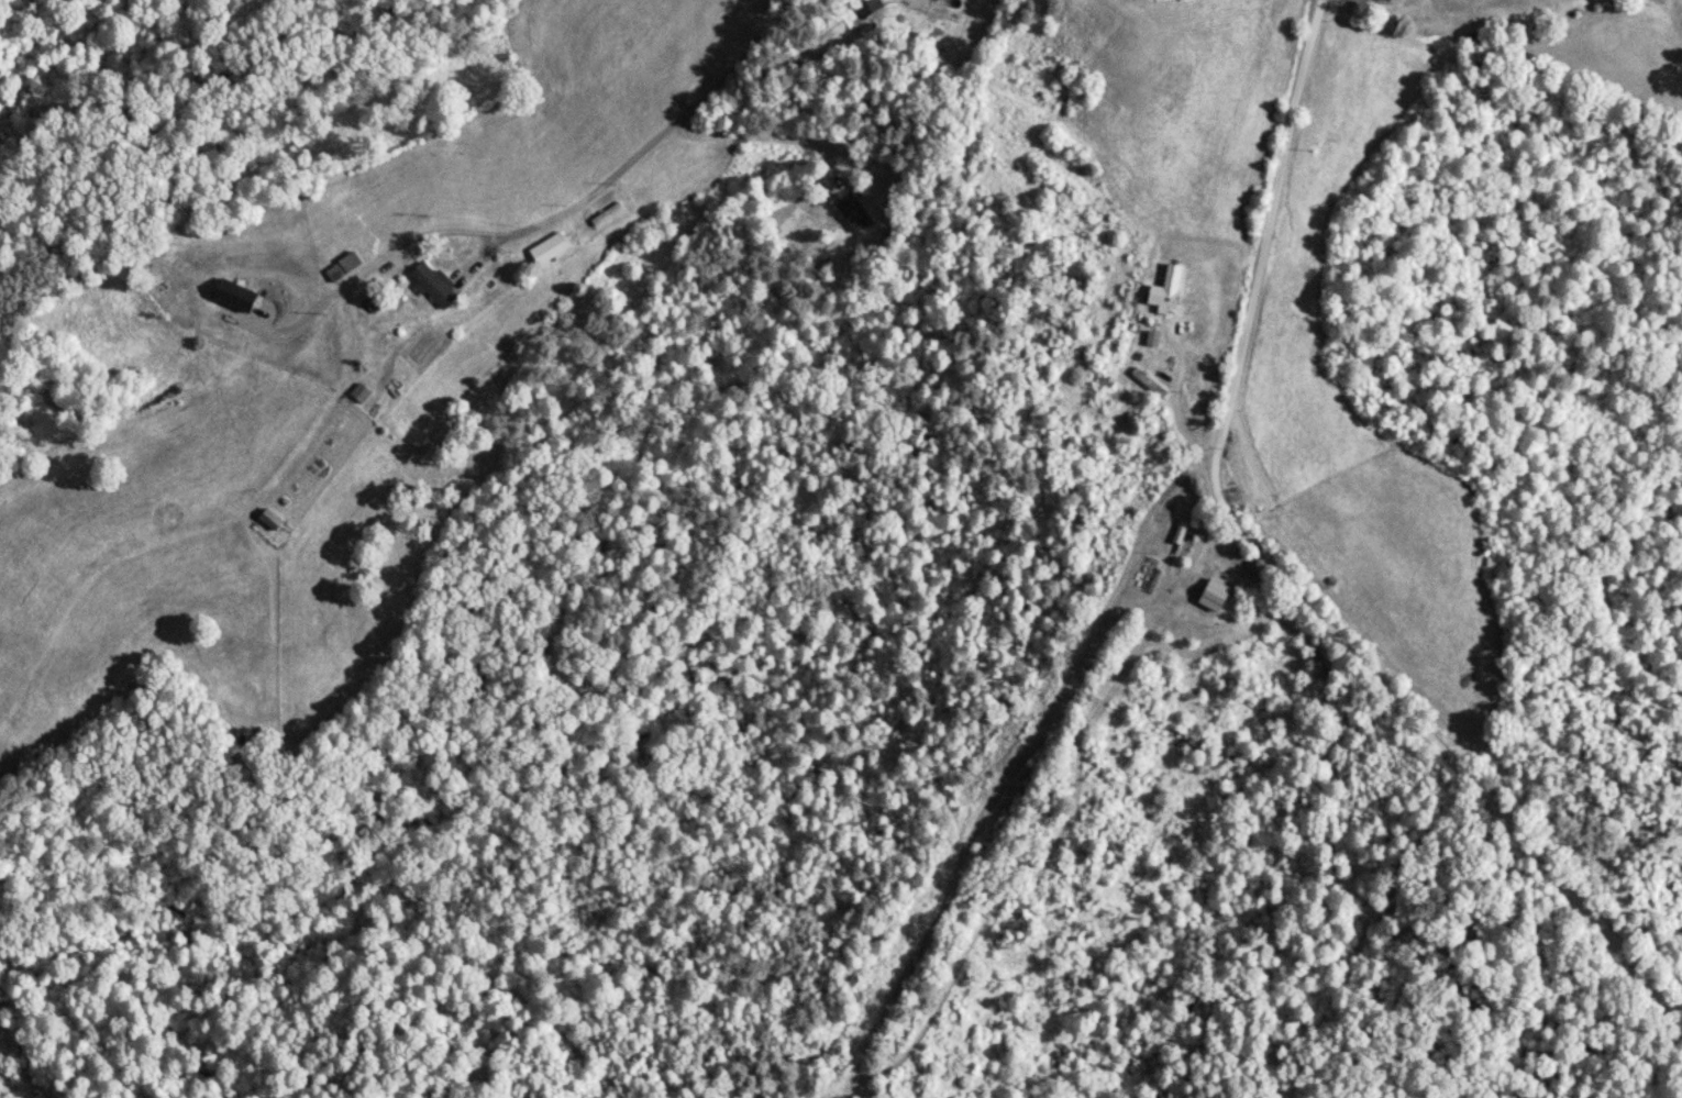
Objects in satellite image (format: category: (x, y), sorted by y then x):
building: (868, 8)
road: (1250, 101)
road: (645, 148)
building: (853, 213)
building: (607, 215)
building: (542, 251)
building: (350, 263)
building: (436, 287)
building: (1163, 299)
road: (1206, 370)
building: (272, 519)
road: (1447, 785)

